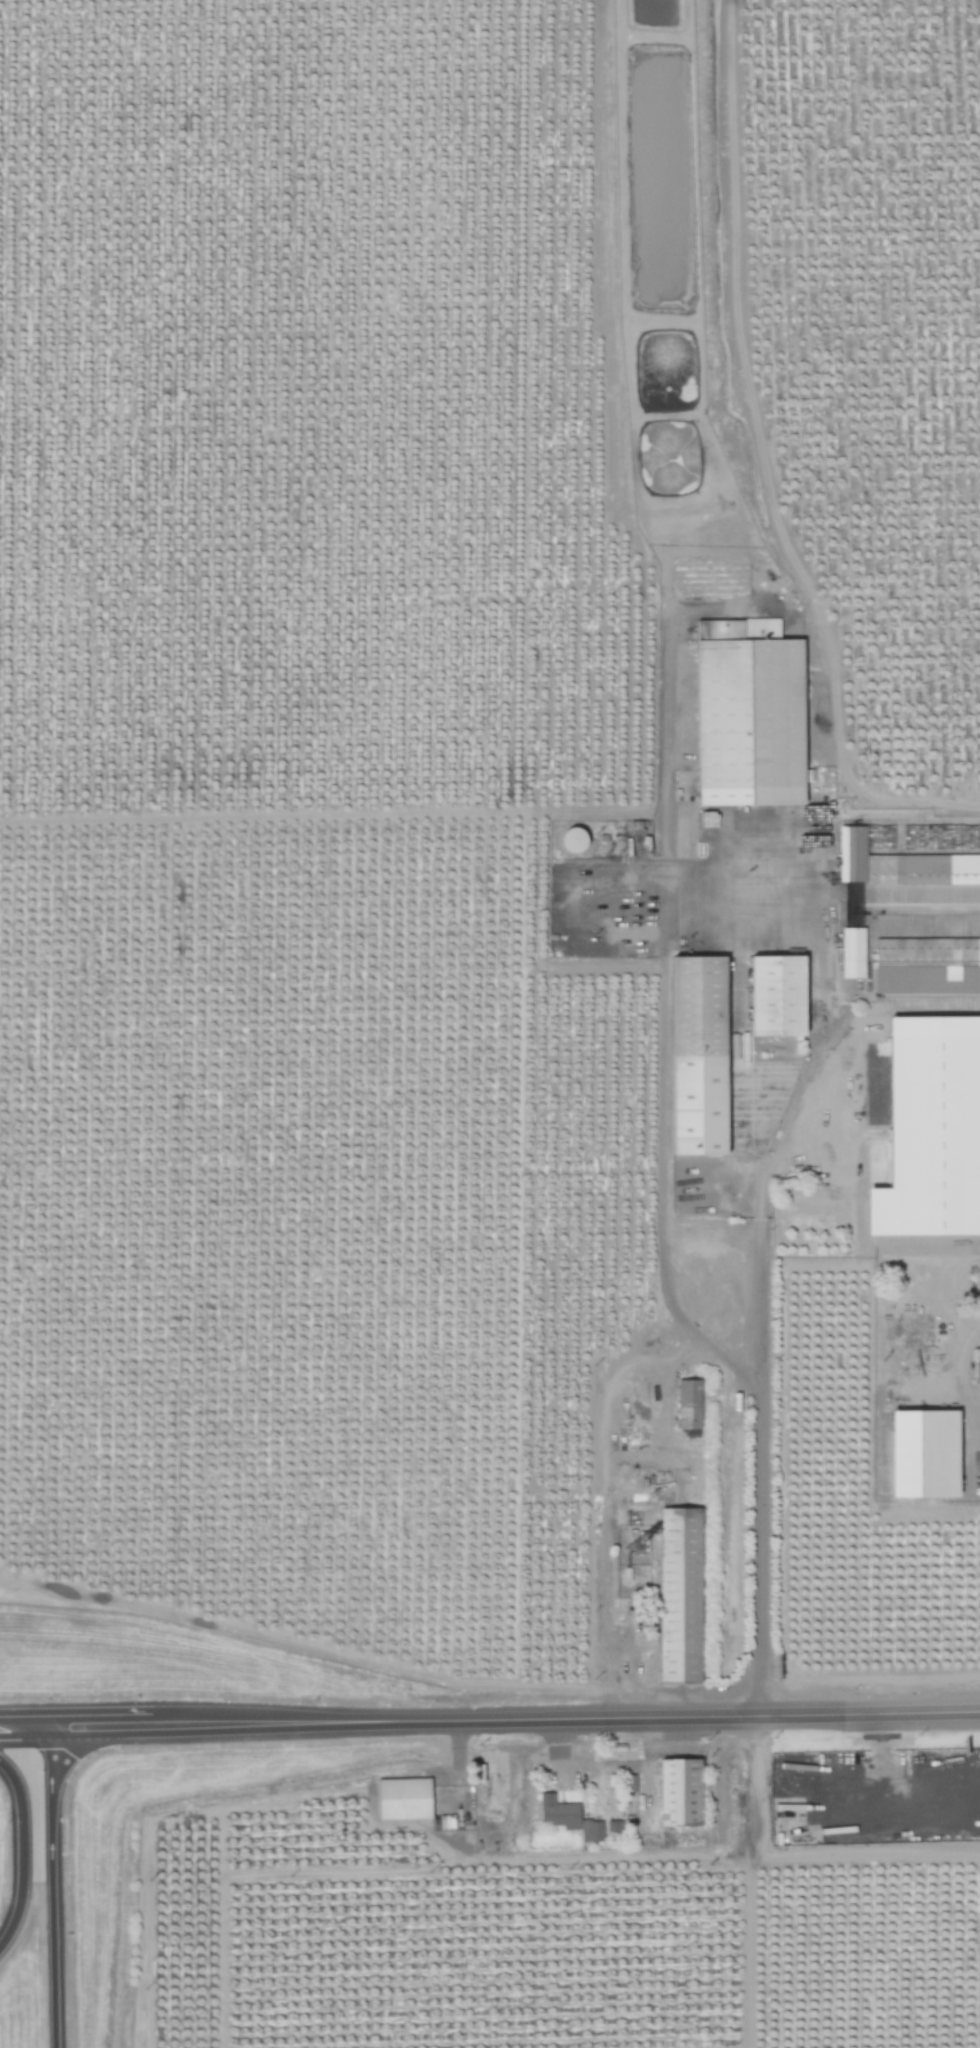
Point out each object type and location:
building: (752, 713)
building: (576, 838)
building: (853, 853)
building: (923, 869)
road: (782, 878)
building: (854, 952)
building: (781, 995)
railway: (759, 1024)
building: (702, 1055)
building: (933, 1130)
road: (762, 1316)
building: (978, 1371)
building: (690, 1404)
building: (928, 1454)
building: (682, 1596)
road: (566, 1709)
road: (101, 1722)
road: (25, 1723)
building: (682, 1793)
building: (405, 1799)
building: (570, 1818)
building: (615, 1828)
road: (21, 1853)
road: (52, 1885)

